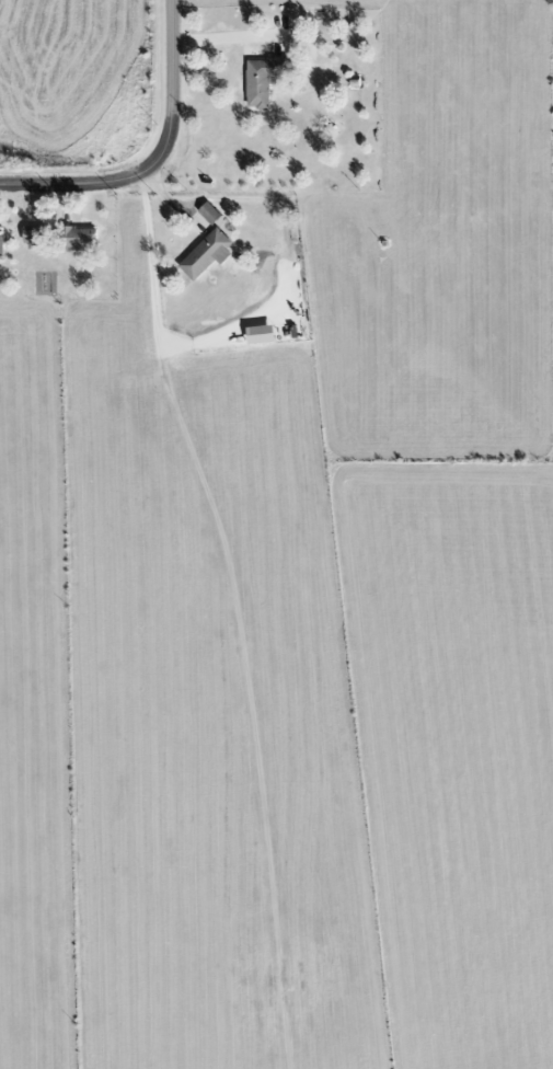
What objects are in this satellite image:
road: (229, 37)
building: (262, 80)
road: (157, 161)
building: (208, 214)
building: (34, 238)
building: (78, 239)
building: (0, 241)
building: (206, 254)
road: (154, 297)

